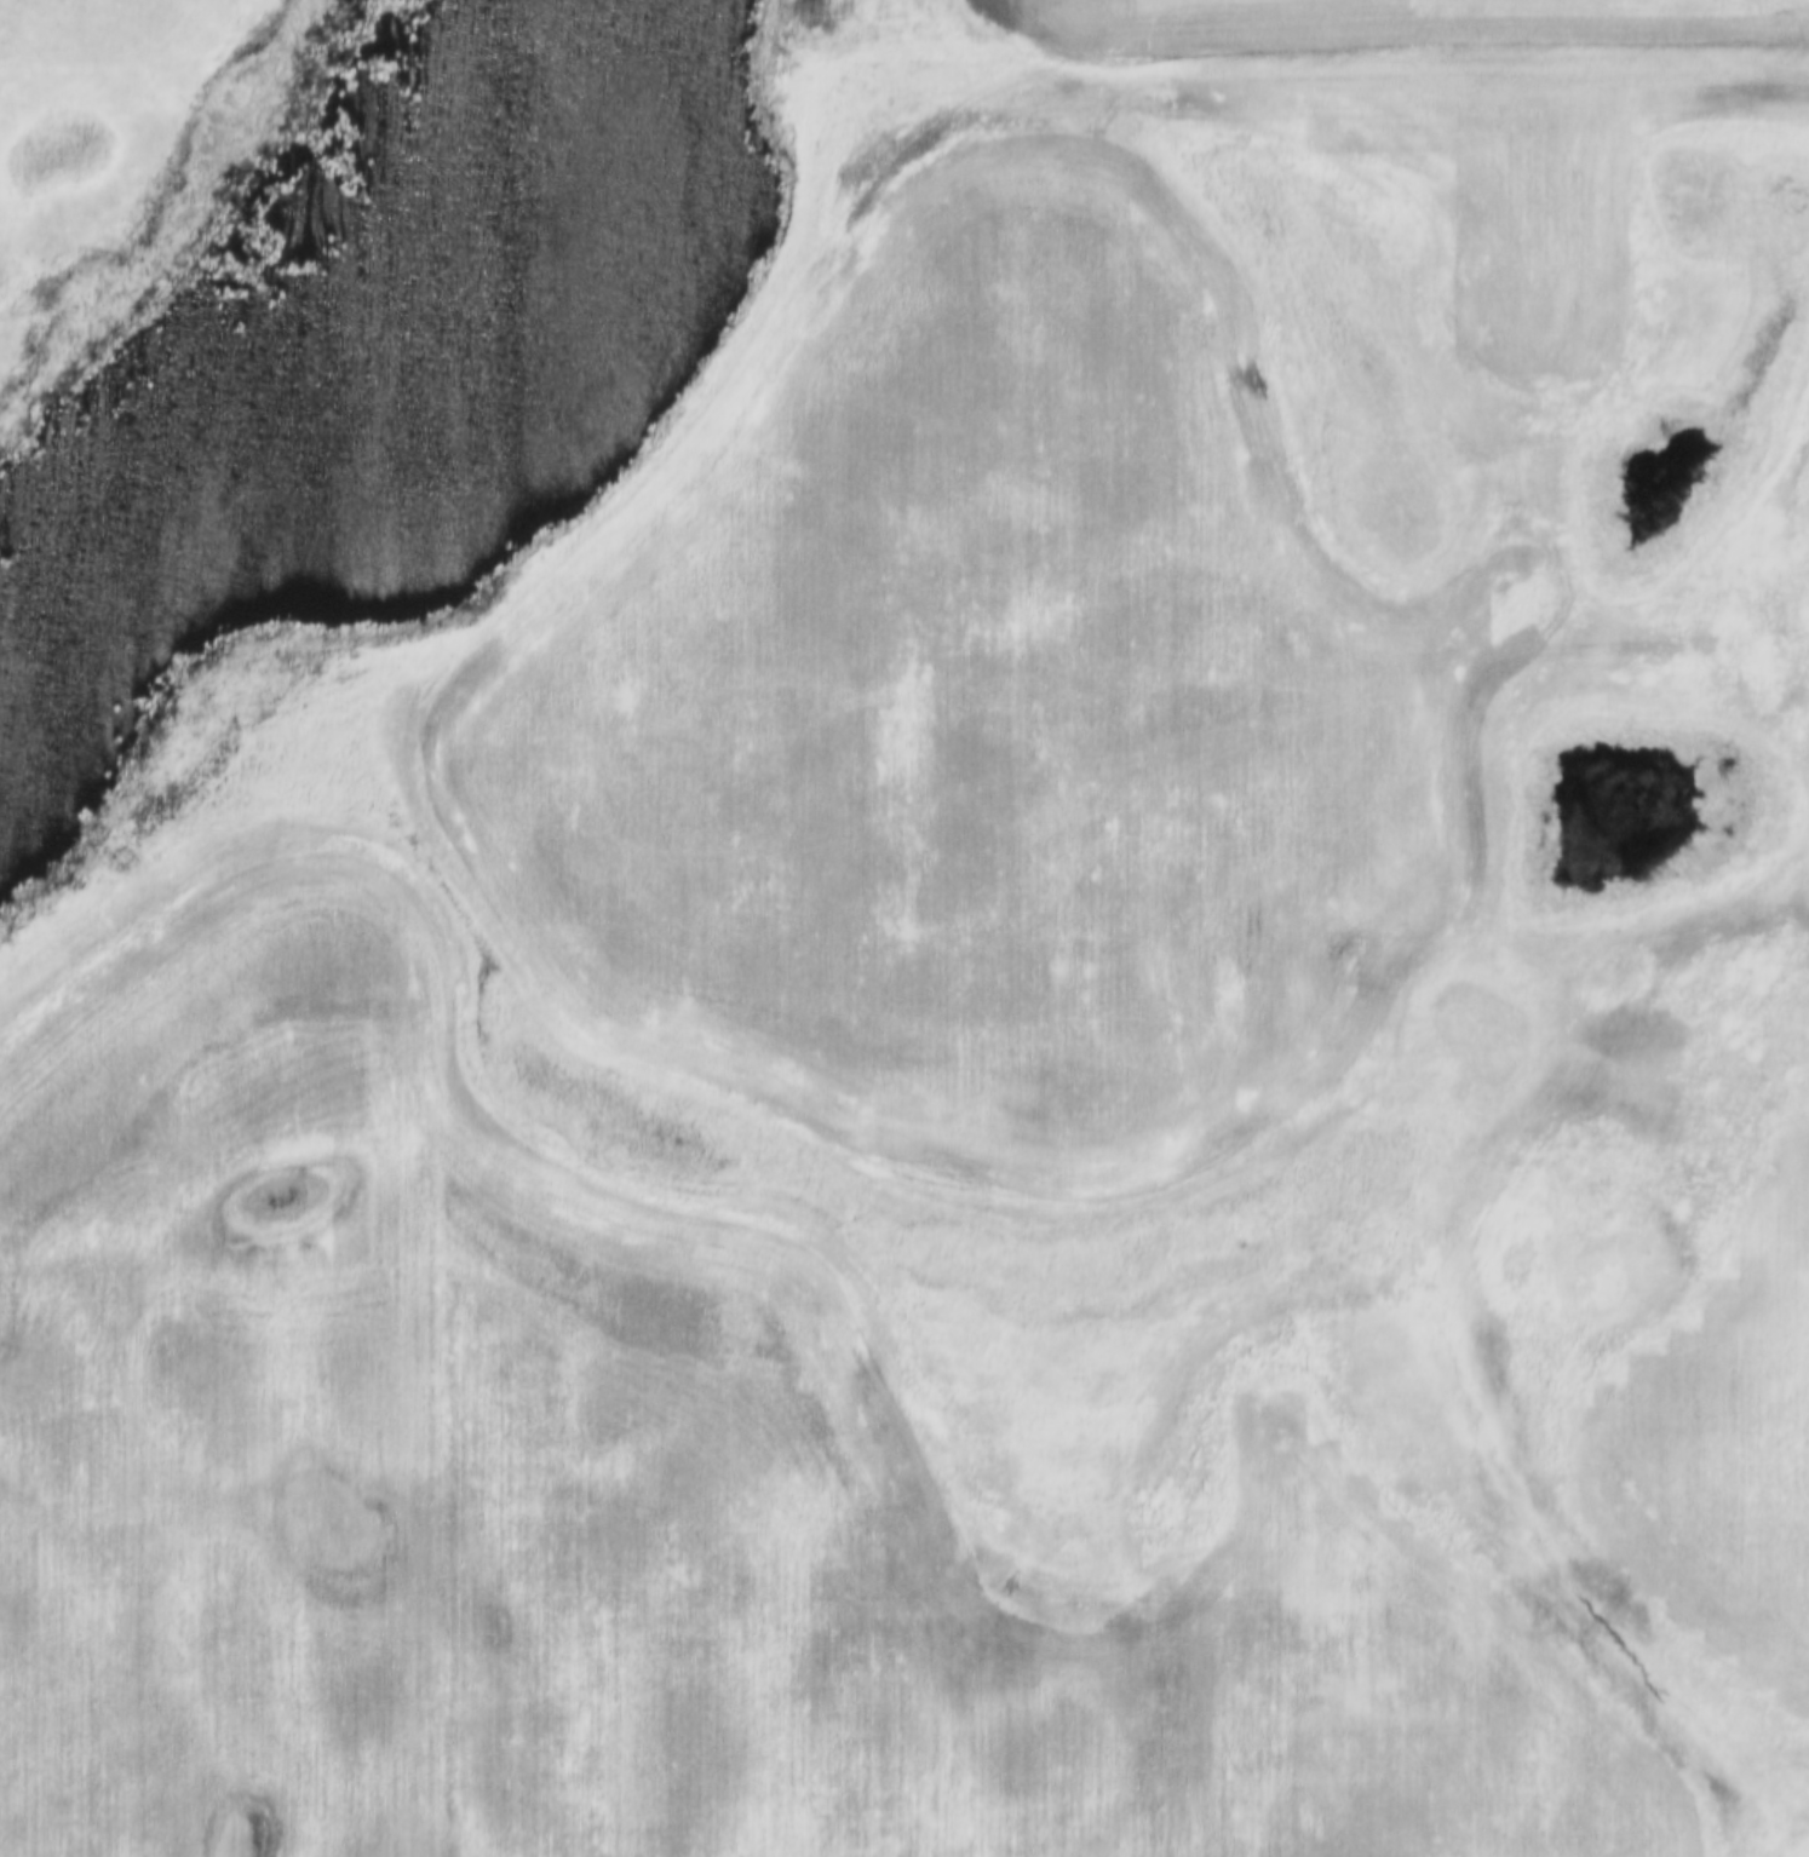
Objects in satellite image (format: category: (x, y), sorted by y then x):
road: (1321, 87)

